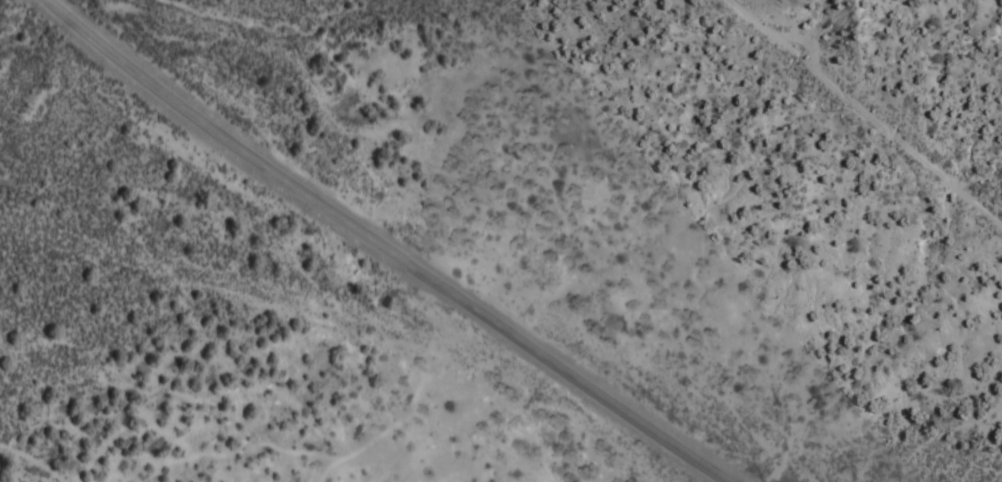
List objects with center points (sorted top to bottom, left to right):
road: (866, 107)
road: (394, 248)

